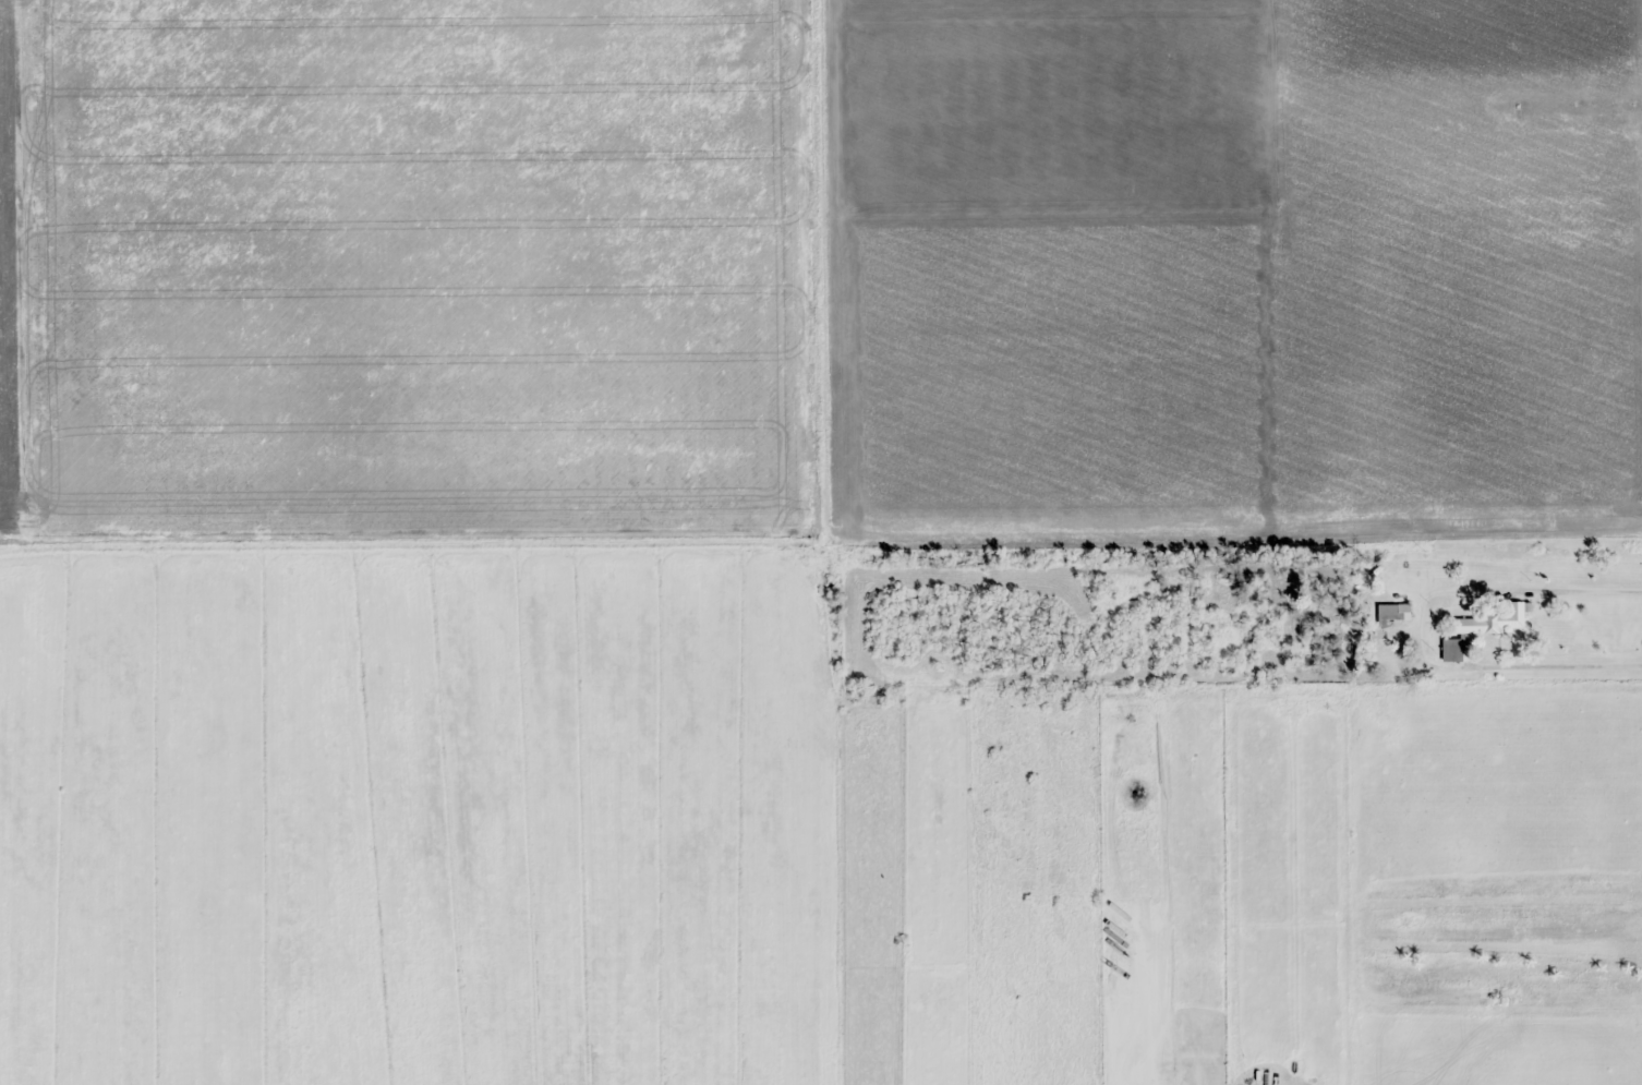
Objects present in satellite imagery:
building: (1393, 614)
building: (1506, 616)
building: (1458, 640)

